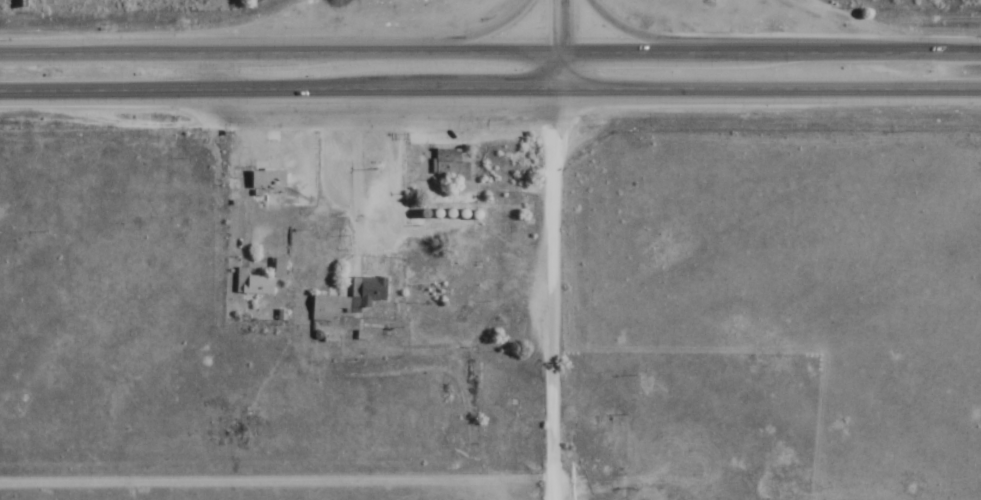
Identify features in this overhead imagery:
road: (333, 41)
road: (730, 43)
road: (561, 46)
road: (490, 57)
road: (490, 94)
building: (267, 180)
building: (253, 283)
road: (553, 296)

